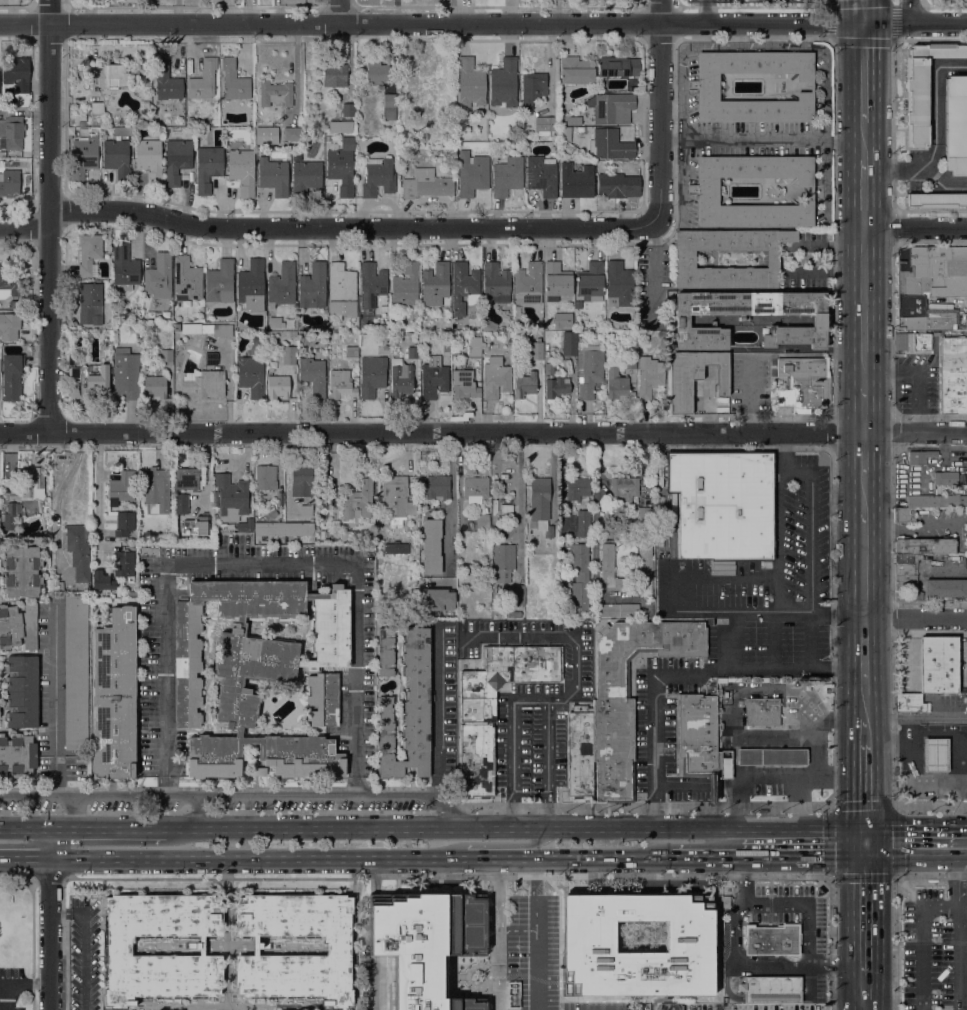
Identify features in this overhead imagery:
building: (299, 1)
road: (894, 4)
road: (339, 11)
road: (707, 11)
road: (49, 12)
road: (863, 12)
road: (910, 12)
road: (508, 23)
road: (24, 24)
traffic signals: (863, 24)
building: (618, 67)
building: (376, 71)
building: (575, 71)
road: (862, 72)
building: (16, 73)
building: (109, 74)
building: (335, 76)
building: (203, 80)
building: (234, 81)
building: (165, 82)
building: (470, 83)
building: (504, 83)
building: (703, 85)
building: (532, 88)
building: (922, 88)
building: (275, 93)
building: (107, 97)
building: (389, 107)
building: (97, 108)
building: (613, 108)
building: (348, 109)
road: (659, 112)
building: (82, 123)
building: (548, 123)
building: (956, 124)
building: (341, 126)
building: (121, 131)
building: (12, 132)
building: (292, 135)
road: (935, 138)
building: (327, 139)
road: (862, 139)
road: (761, 142)
building: (610, 144)
building: (83, 157)
building: (117, 158)
building: (149, 159)
building: (177, 160)
building: (341, 166)
building: (208, 167)
building: (242, 170)
building: (472, 173)
building: (541, 175)
building: (273, 176)
building: (506, 176)
building: (378, 177)
building: (305, 178)
building: (576, 181)
road: (947, 183)
building: (619, 184)
building: (10, 185)
building: (427, 185)
building: (703, 189)
road: (863, 194)
building: (936, 200)
road: (49, 228)
road: (915, 228)
road: (24, 229)
road: (349, 229)
building: (89, 253)
building: (686, 259)
building: (124, 267)
road: (657, 272)
building: (159, 276)
building: (187, 279)
building: (372, 280)
building: (557, 281)
building: (590, 281)
building: (220, 282)
building: (435, 283)
building: (496, 283)
building: (528, 284)
building: (619, 284)
building: (10, 285)
building: (282, 285)
building: (251, 286)
building: (406, 286)
building: (929, 286)
building: (313, 287)
building: (464, 287)
building: (342, 290)
building: (90, 303)
building: (577, 304)
road: (863, 307)
building: (681, 322)
building: (275, 323)
building: (489, 325)
building: (9, 326)
building: (207, 329)
building: (293, 334)
building: (447, 334)
building: (336, 335)
building: (509, 335)
building: (409, 336)
building: (912, 342)
building: (569, 343)
building: (952, 344)
building: (475, 347)
building: (535, 349)
building: (351, 352)
building: (413, 353)
building: (288, 355)
building: (548, 356)
building: (165, 357)
building: (210, 358)
building: (952, 359)
building: (629, 362)
building: (549, 369)
building: (589, 369)
building: (560, 370)
road: (920, 372)
building: (126, 373)
building: (952, 374)
building: (372, 375)
building: (12, 376)
building: (251, 376)
building: (313, 376)
building: (434, 377)
building: (648, 377)
building: (693, 377)
building: (400, 378)
building: (495, 378)
building: (87, 381)
building: (204, 384)
building: (524, 384)
building: (804, 384)
building: (340, 385)
building: (464, 385)
building: (617, 386)
building: (277, 387)
building: (556, 387)
building: (155, 388)
building: (952, 388)
building: (952, 404)
road: (863, 409)
road: (483, 432)
road: (863, 454)
building: (919, 457)
road: (552, 476)
building: (187, 478)
building: (266, 478)
building: (945, 478)
building: (302, 479)
road: (62, 481)
building: (33, 483)
road: (520, 485)
building: (122, 486)
building: (156, 487)
building: (437, 488)
building: (476, 489)
building: (578, 489)
building: (624, 490)
road: (452, 494)
road: (864, 495)
building: (230, 497)
building: (395, 498)
building: (539, 499)
building: (358, 501)
building: (936, 501)
building: (260, 502)
building: (180, 504)
building: (723, 504)
building: (672, 506)
building: (645, 513)
building: (903, 515)
building: (11, 516)
building: (483, 518)
building: (124, 523)
building: (611, 524)
building: (245, 525)
building: (583, 525)
building: (197, 526)
building: (269, 529)
building: (298, 529)
building: (548, 531)
building: (345, 536)
road: (809, 538)
building: (431, 546)
building: (471, 546)
building: (924, 546)
building: (396, 547)
building: (78, 552)
building: (907, 558)
building: (504, 561)
building: (123, 563)
road: (262, 564)
road: (864, 567)
building: (610, 569)
building: (22, 571)
building: (645, 571)
building: (579, 577)
building: (102, 581)
building: (906, 583)
building: (946, 588)
building: (517, 595)
road: (675, 596)
building: (437, 599)
building: (616, 610)
building: (514, 613)
road: (915, 621)
building: (18, 626)
road: (893, 628)
road: (833, 629)
road: (811, 639)
building: (386, 651)
road: (864, 658)
building: (938, 664)
road: (685, 671)
building: (76, 672)
building: (259, 675)
road: (55, 680)
building: (722, 681)
building: (22, 691)
building: (114, 694)
road: (529, 700)
building: (910, 703)
road: (864, 707)
building: (408, 711)
building: (762, 712)
road: (915, 717)
road: (818, 725)
road: (907, 726)
building: (613, 730)
road: (865, 731)
building: (697, 734)
road: (959, 734)
building: (580, 752)
building: (934, 754)
building: (17, 755)
gas station: (935, 755)
building: (770, 756)
gas station: (772, 757)
building: (476, 759)
building: (719, 765)
road: (907, 767)
building: (257, 772)
road: (55, 775)
road: (763, 775)
road: (863, 784)
road: (418, 787)
road: (235, 795)
road: (863, 806)
road: (931, 806)
road: (75, 810)
road: (796, 817)
road: (355, 825)
road: (107, 826)
road: (704, 826)
traffic signals: (863, 826)
road: (25, 827)
road: (911, 827)
road: (963, 827)
road: (51, 841)
road: (537, 841)
road: (863, 842)
road: (25, 855)
road: (256, 855)
road: (493, 857)
road: (599, 857)
road: (708, 858)
road: (802, 858)
road: (915, 858)
traffic signals: (863, 859)
road: (440, 876)
road: (742, 880)
road: (18, 883)
building: (726, 901)
road: (962, 908)
road: (60, 912)
road: (861, 912)
road: (809, 914)
road: (50, 932)
road: (494, 933)
road: (735, 933)
road: (958, 933)
building: (587, 937)
building: (773, 940)
building: (426, 943)
road: (896, 943)
road: (923, 944)
building: (118, 951)
building: (339, 951)
road: (528, 951)
road: (85, 956)
road: (772, 966)
road: (835, 966)
road: (861, 970)
road: (726, 982)
road: (15, 983)
road: (862, 985)
road: (378, 988)
building: (771, 989)
building: (512, 994)
road: (862, 1004)
building: (671, 1007)

